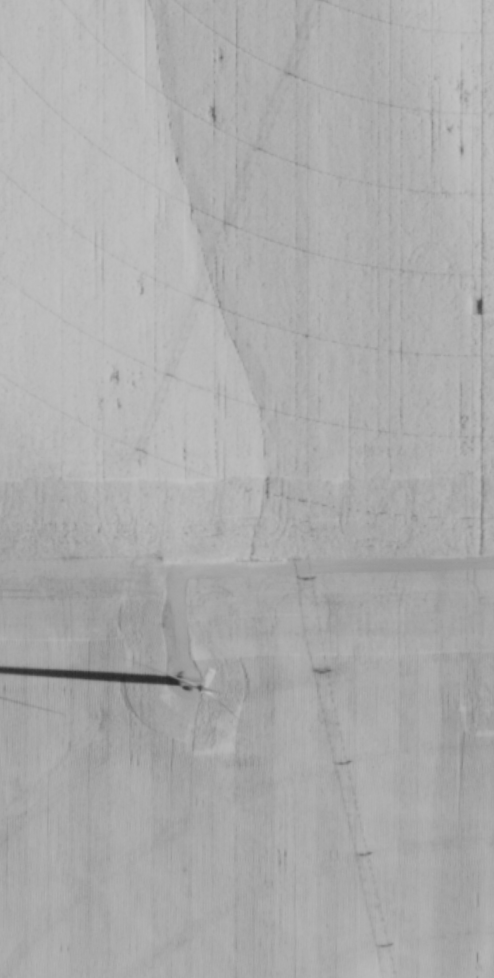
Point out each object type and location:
wind turbine: (180, 679)

